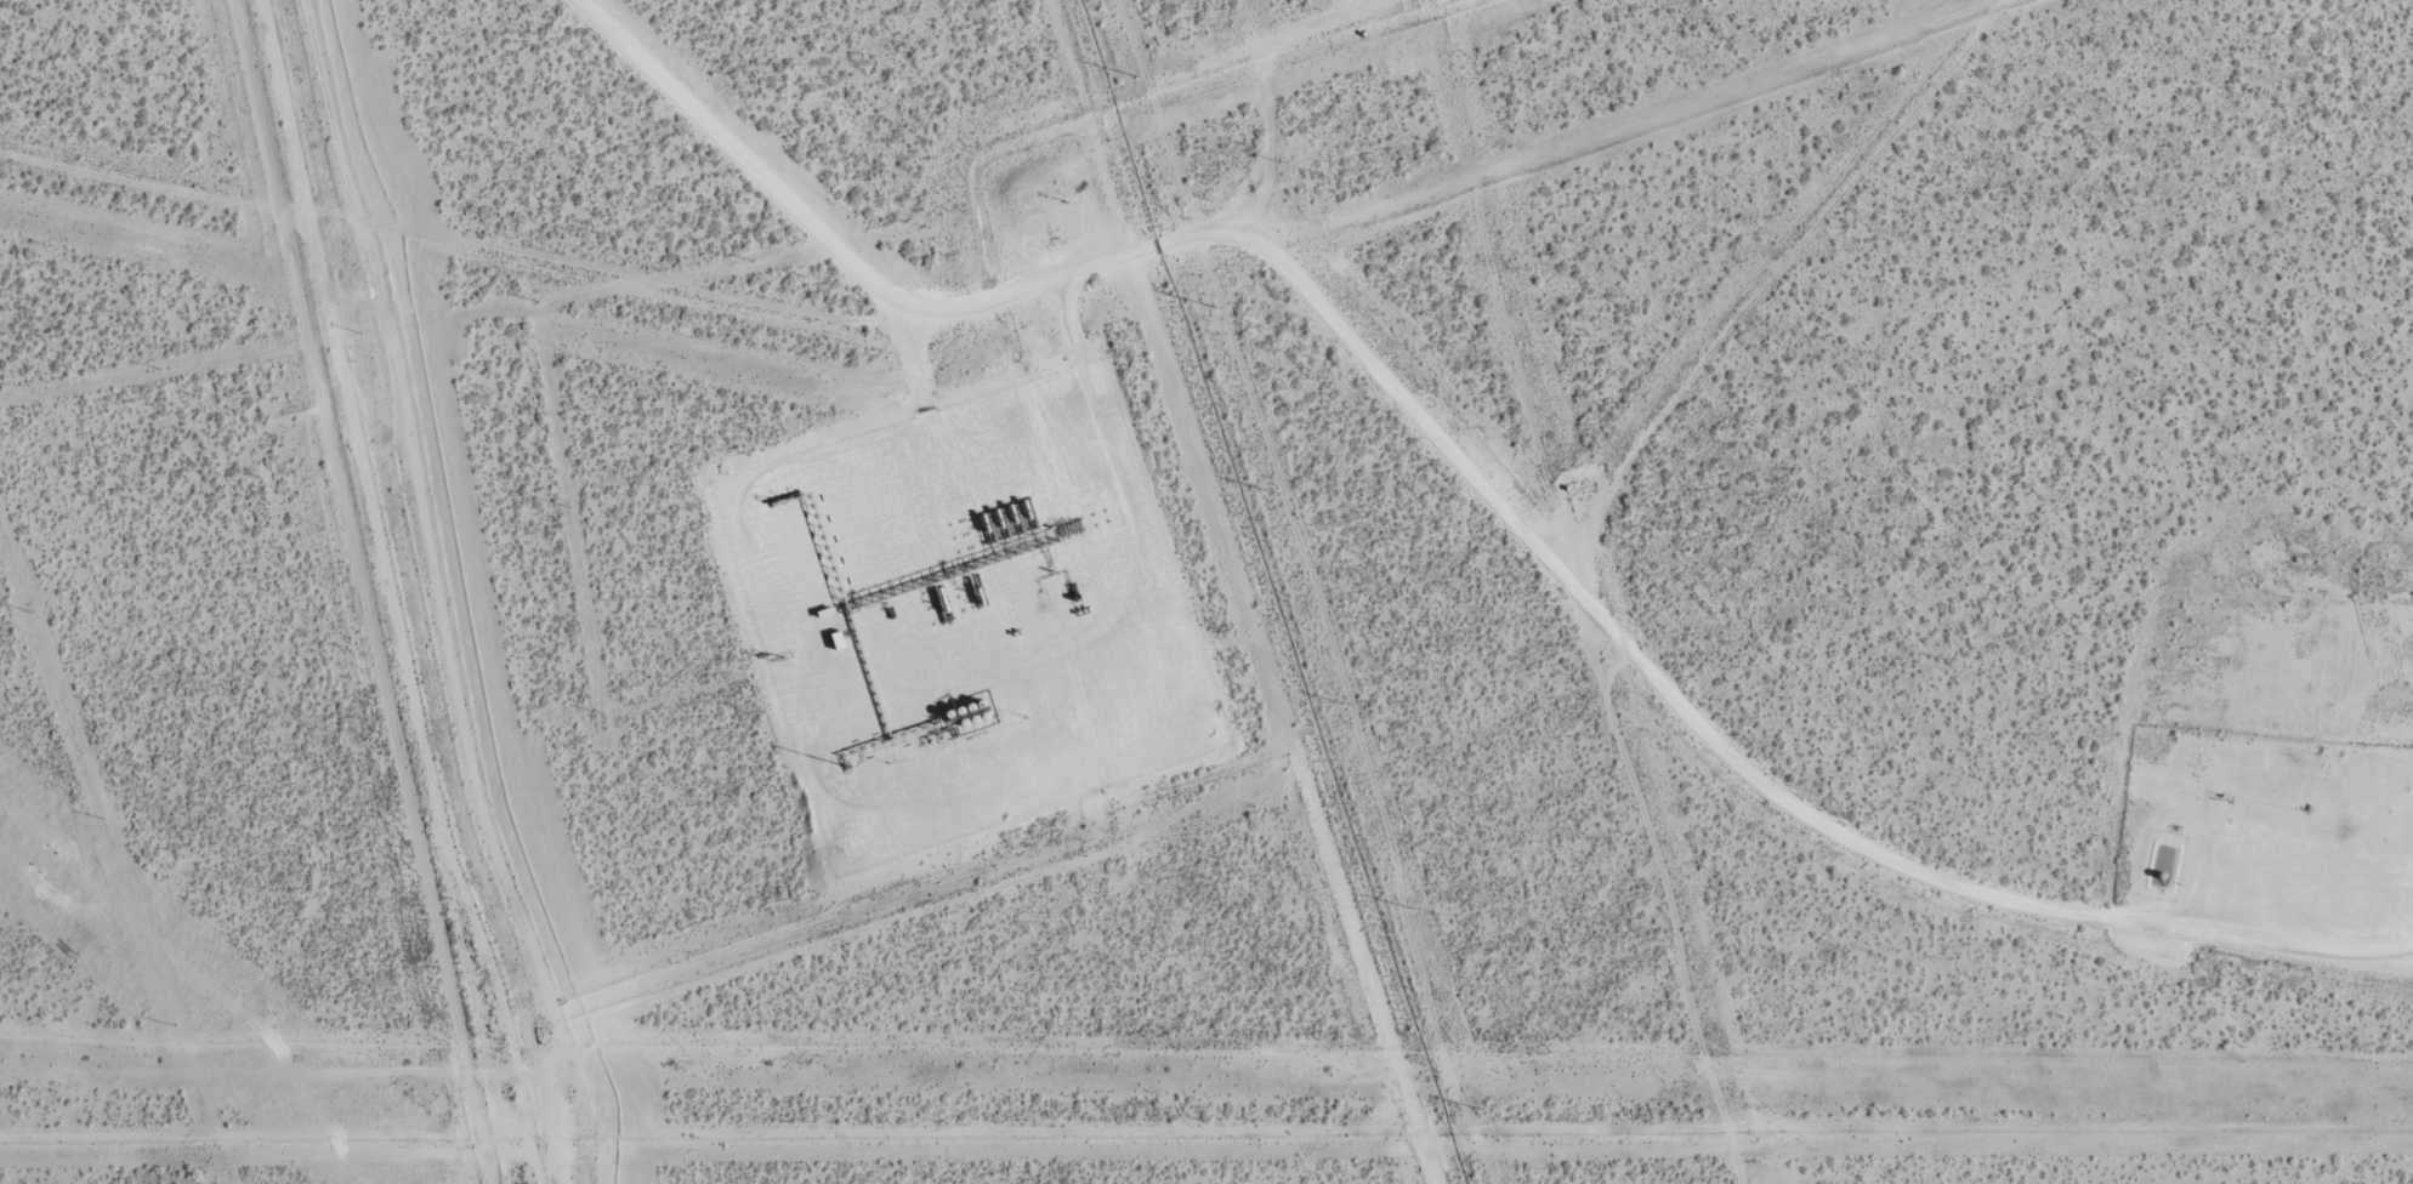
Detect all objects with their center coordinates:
power tower: (1137, 78)
road: (1097, 269)
power tower: (1211, 304)
road: (1068, 319)
road: (915, 353)
power tower: (1273, 493)
power tower: (1342, 705)
power tower: (41, 861)
road: (1943, 884)
power tower: (1408, 907)
power tower: (1474, 1108)

